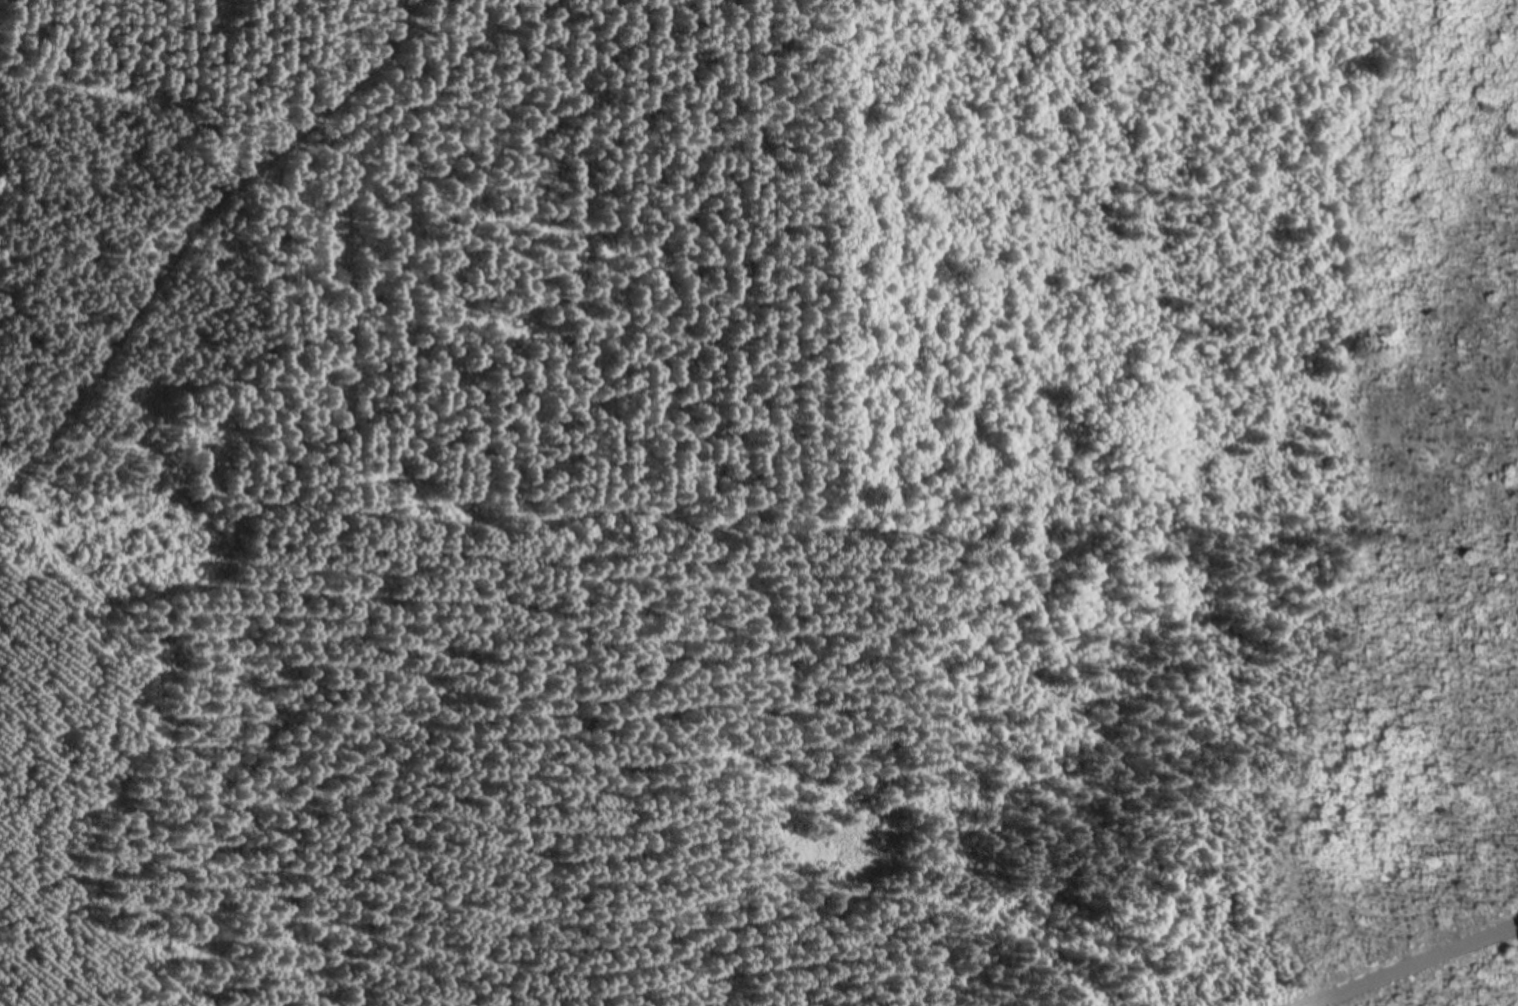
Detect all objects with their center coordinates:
road: (1418, 971)

